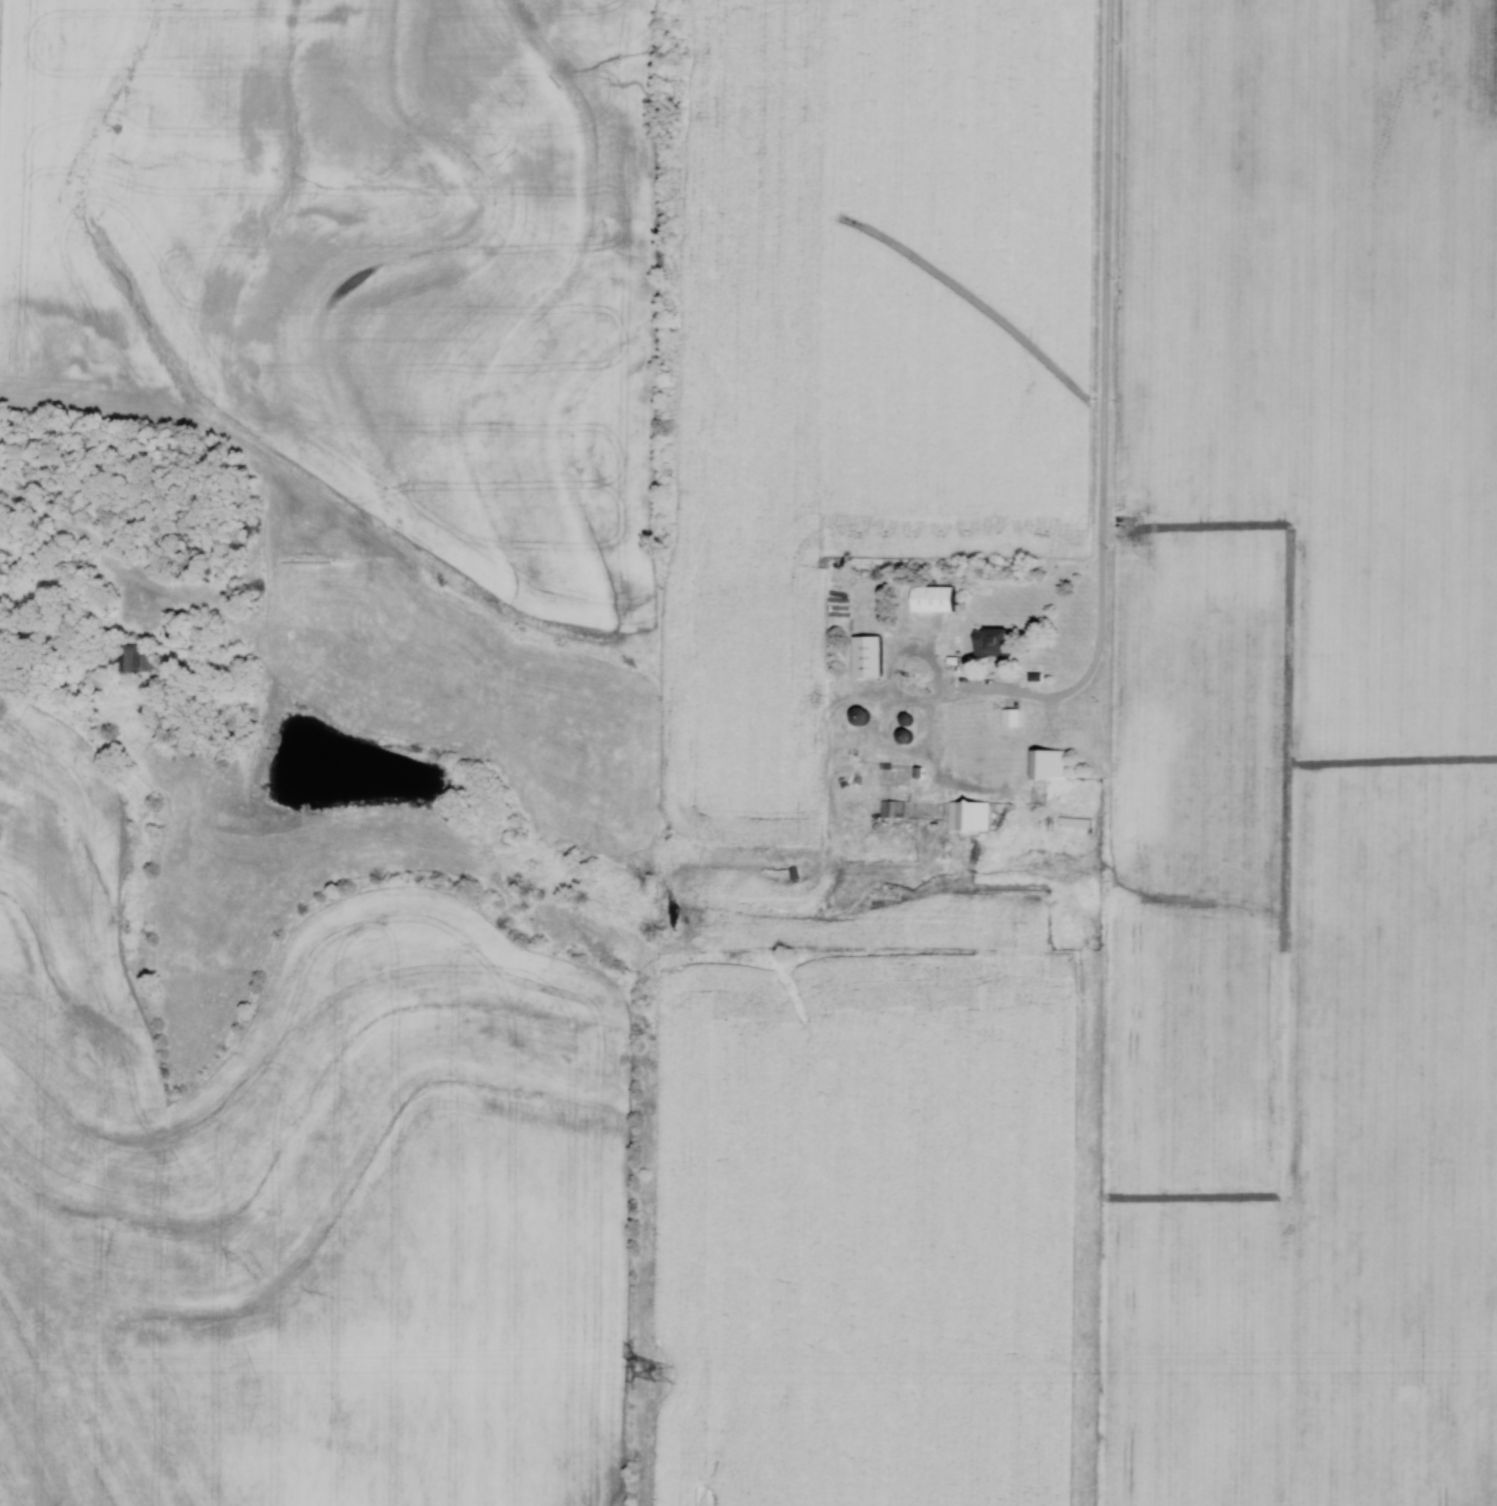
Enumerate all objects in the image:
road: (1107, 414)
building: (934, 600)
building: (993, 643)
building: (868, 658)
building: (137, 659)
building: (860, 717)
building: (1048, 765)
building: (969, 816)
power tower: (664, 1376)

